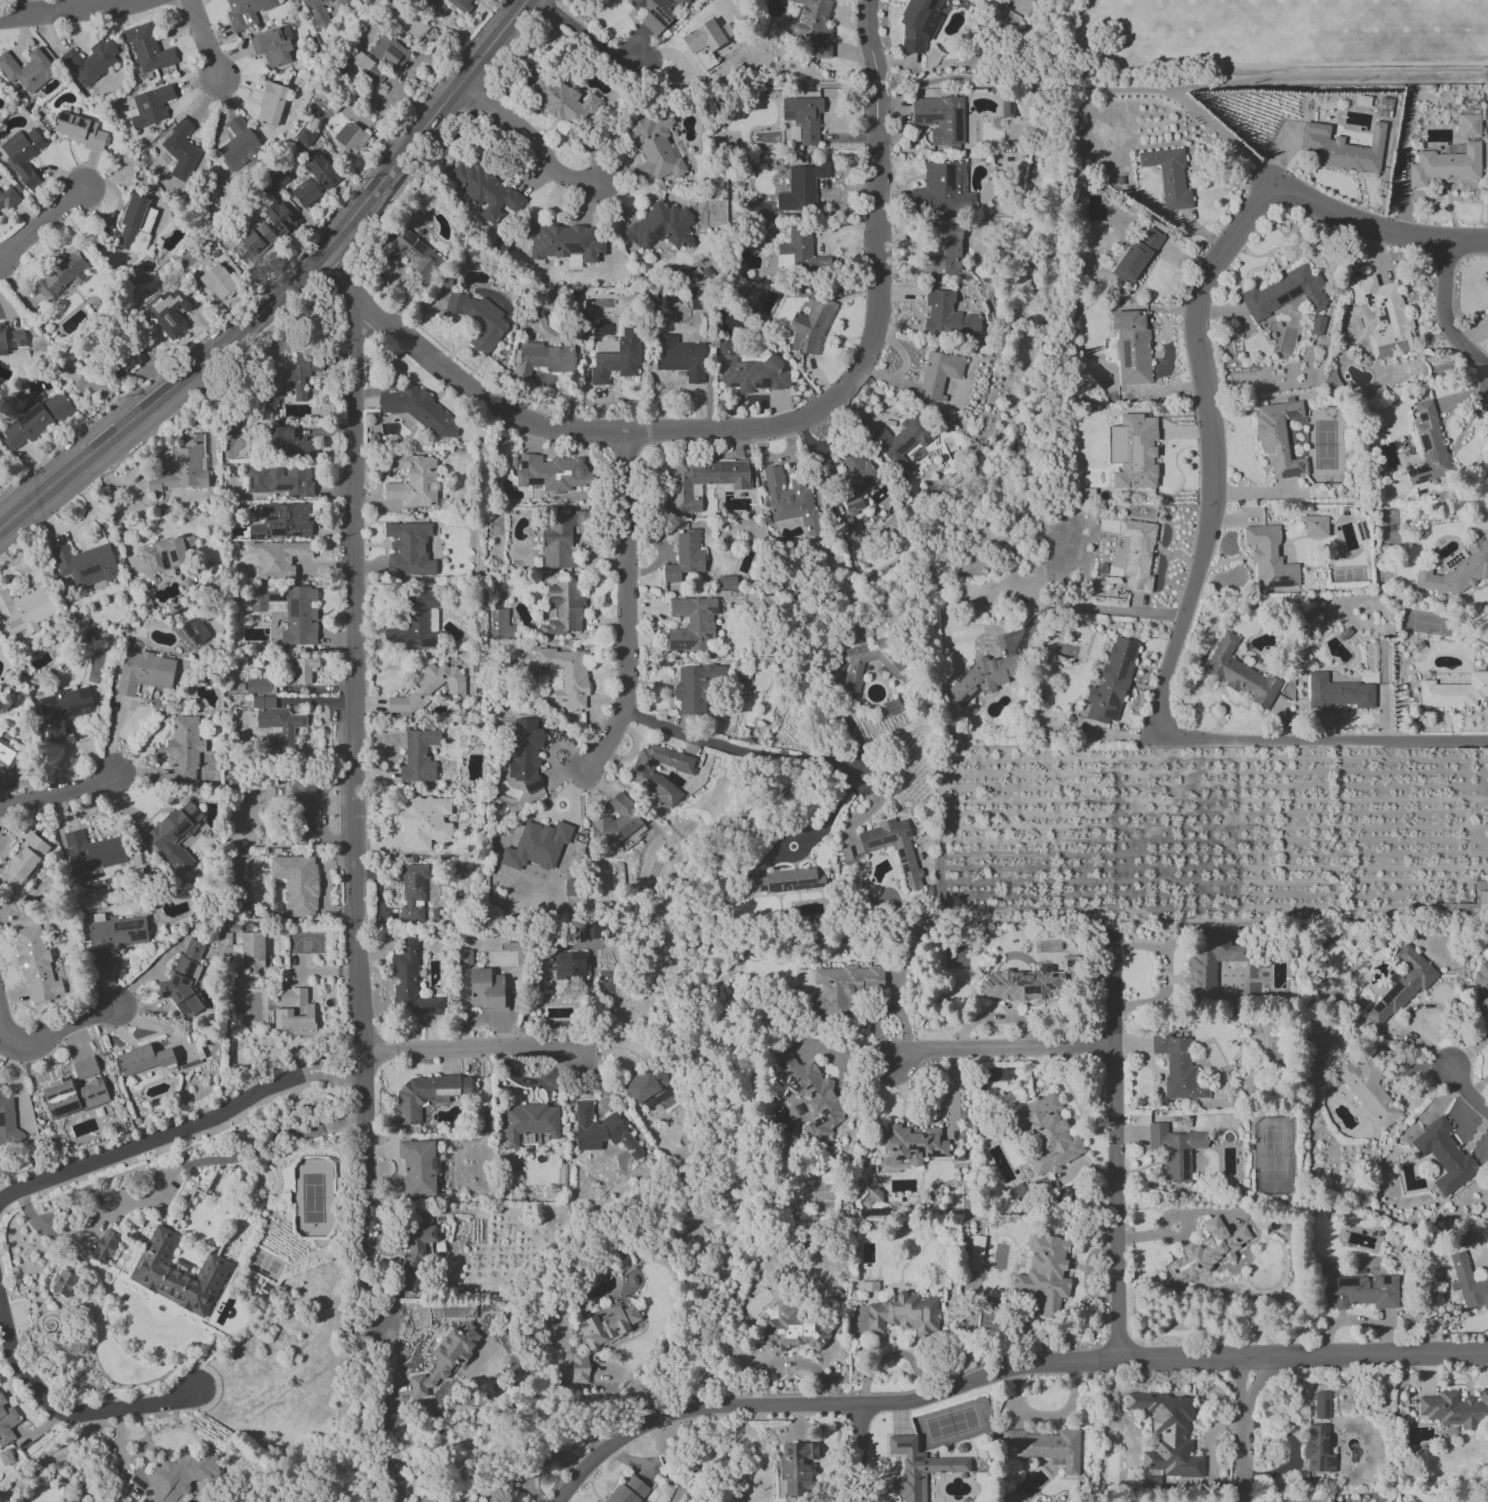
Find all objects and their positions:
building: (461, 5)
building: (315, 8)
road: (65, 9)
building: (246, 13)
building: (659, 13)
park: (1173, 18)
building: (918, 24)
building: (814, 26)
park: (1387, 28)
building: (703, 37)
road: (588, 39)
road: (204, 40)
building: (273, 46)
building: (147, 48)
building: (388, 51)
building: (704, 58)
building: (91, 61)
building: (366, 66)
building: (27, 70)
road: (1271, 76)
road: (771, 84)
road: (1049, 88)
building: (562, 100)
building: (271, 104)
building: (149, 106)
building: (1007, 108)
building: (940, 119)
building: (803, 121)
building: (1469, 126)
building: (80, 130)
road: (1224, 134)
building: (305, 137)
building: (351, 137)
road: (532, 137)
building: (239, 145)
building: (656, 146)
building: (1342, 148)
building: (181, 150)
building: (22, 155)
building: (1445, 165)
building: (322, 170)
building: (1169, 177)
building: (801, 188)
building: (941, 188)
building: (485, 192)
building: (306, 193)
building: (7, 198)
building: (281, 218)
building: (134, 221)
road: (41, 224)
building: (661, 227)
road: (1374, 227)
building: (566, 242)
building: (253, 243)
building: (942, 250)
building: (412, 254)
building: (800, 254)
building: (1135, 256)
building: (61, 275)
building: (218, 282)
road: (286, 288)
building: (1285, 293)
building: (698, 300)
building: (169, 312)
road: (1445, 315)
building: (948, 316)
building: (1385, 317)
building: (478, 319)
building: (811, 325)
building: (1317, 325)
building: (10, 340)
building: (1132, 346)
building: (616, 356)
building: (680, 357)
building: (542, 359)
building: (126, 362)
building: (749, 372)
building: (938, 374)
building: (290, 379)
building: (418, 410)
building: (35, 422)
road: (757, 432)
building: (1278, 437)
building: (288, 441)
building: (902, 443)
building: (1429, 446)
road: (1213, 449)
building: (1133, 451)
building: (181, 468)
building: (551, 473)
road: (108, 480)
building: (279, 481)
building: (414, 481)
building: (702, 482)
building: (852, 486)
building: (792, 502)
building: (282, 521)
building: (1314, 526)
road: (124, 539)
building: (560, 539)
building: (409, 549)
building: (1138, 554)
building: (163, 555)
building: (277, 558)
building: (685, 558)
building: (1269, 558)
building: (1454, 559)
building: (85, 564)
building: (1457, 571)
building: (727, 582)
building: (563, 608)
building: (25, 610)
building: (291, 611)
road: (1097, 611)
road: (625, 613)
building: (414, 622)
building: (691, 623)
building: (501, 624)
building: (194, 631)
building: (855, 664)
building: (303, 669)
building: (144, 672)
building: (1241, 674)
building: (565, 675)
building: (983, 678)
building: (1112, 683)
building: (257, 686)
building: (696, 687)
building: (428, 688)
building: (1454, 692)
building: (1338, 693)
building: (893, 706)
building: (63, 710)
road: (845, 716)
building: (277, 722)
road: (1323, 740)
road: (738, 745)
building: (184, 749)
building: (526, 754)
building: (7, 755)
building: (418, 756)
building: (683, 768)
road: (59, 790)
building: (304, 799)
road: (355, 816)
building: (423, 822)
building: (615, 822)
building: (175, 834)
road: (812, 838)
building: (536, 846)
building: (92, 854)
building: (23, 862)
building: (909, 871)
building: (785, 881)
building: (297, 883)
building: (570, 887)
building: (412, 892)
building: (1468, 903)
building: (114, 935)
building: (253, 952)
building: (465, 957)
building: (570, 964)
building: (36, 965)
building: (1210, 967)
building: (183, 980)
building: (1024, 982)
building: (411, 983)
building: (1400, 987)
building: (842, 989)
building: (487, 990)
building: (1481, 990)
road: (1111, 991)
road: (1417, 1006)
building: (294, 1010)
road: (157, 1025)
road: (64, 1029)
road: (4, 1035)
road: (1009, 1046)
road: (470, 1048)
road: (1468, 1052)
building: (142, 1059)
building: (85, 1067)
building: (1177, 1067)
building: (651, 1088)
road: (1478, 1089)
building: (1368, 1090)
road: (1466, 1092)
building: (426, 1095)
building: (72, 1096)
building: (812, 1096)
building: (530, 1122)
building: (8, 1125)
road: (179, 1128)
building: (601, 1131)
building: (1047, 1134)
building: (912, 1144)
building: (789, 1149)
building: (1175, 1150)
building: (1444, 1156)
building: (418, 1168)
road: (174, 1175)
road: (1114, 1201)
road: (1169, 1219)
building: (1461, 1238)
building: (105, 1246)
building: (1207, 1250)
building: (415, 1251)
building: (975, 1253)
building: (1046, 1273)
building: (177, 1274)
building: (64, 1283)
building: (1468, 1283)
building: (1353, 1289)
building: (904, 1314)
building: (607, 1327)
building: (793, 1331)
building: (446, 1358)
road: (787, 1363)
road: (1037, 1365)
building: (579, 1368)
road: (365, 1379)
building: (1321, 1405)
building: (1455, 1409)
road: (65, 1414)
building: (7, 1422)
road: (1245, 1430)
building: (1168, 1434)
building: (1047, 1447)
road: (388, 1448)
building: (1318, 1449)
road: (866, 1455)
building: (6, 1457)
road: (395, 1457)
road: (50, 1460)
road: (468, 1462)
building: (920, 1466)
building: (797, 1469)
building: (175, 1477)
road: (582, 1478)
building: (629, 1490)
building: (504, 1494)
building: (66, 1501)

